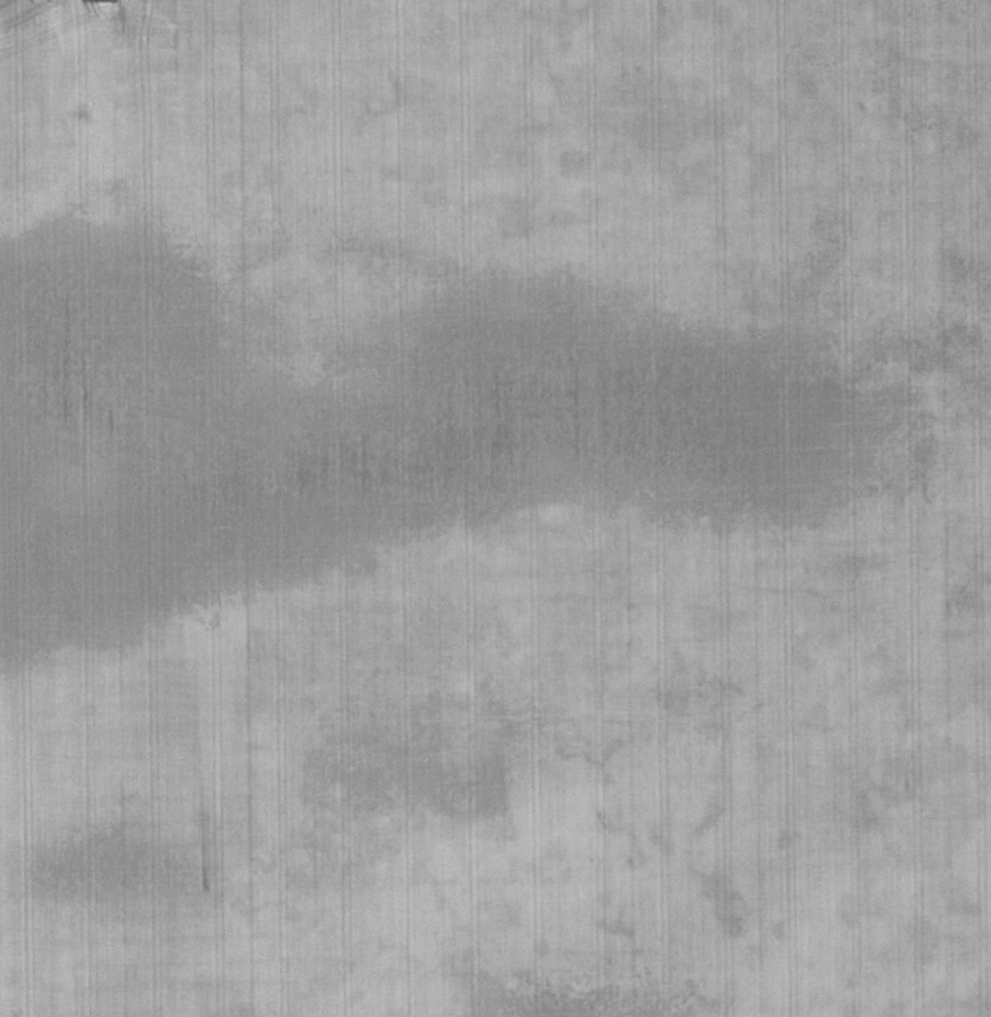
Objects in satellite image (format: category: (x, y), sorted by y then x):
power tower: (118, 0)

